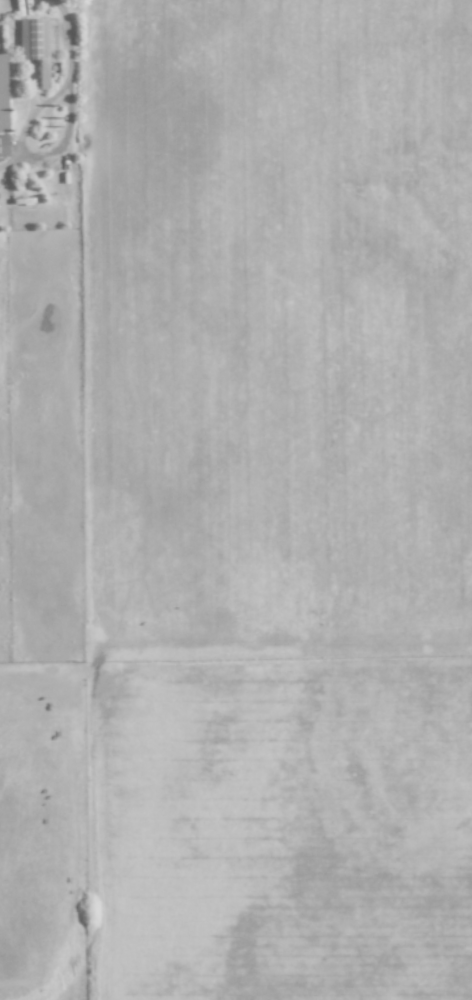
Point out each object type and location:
road: (71, 38)
building: (35, 45)
building: (2, 95)
building: (3, 144)
road: (33, 154)

